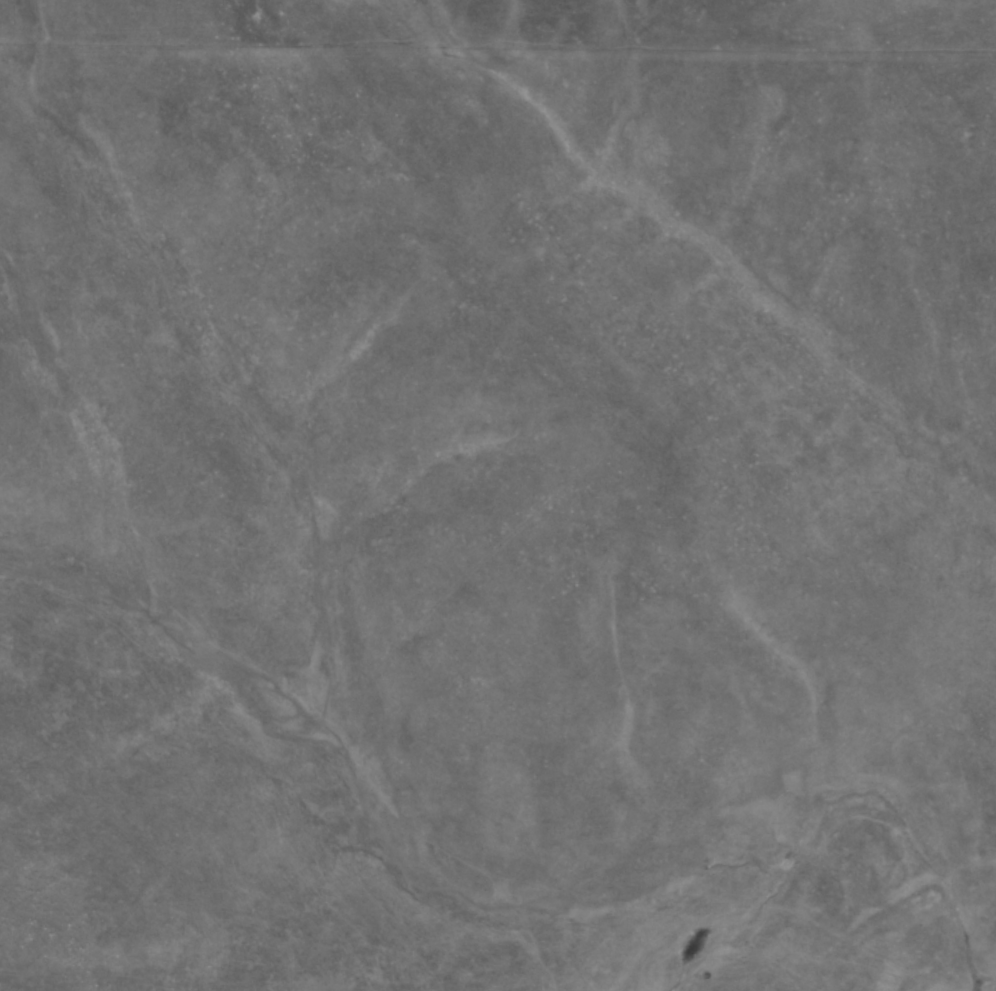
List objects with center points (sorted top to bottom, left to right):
road: (827, 988)

